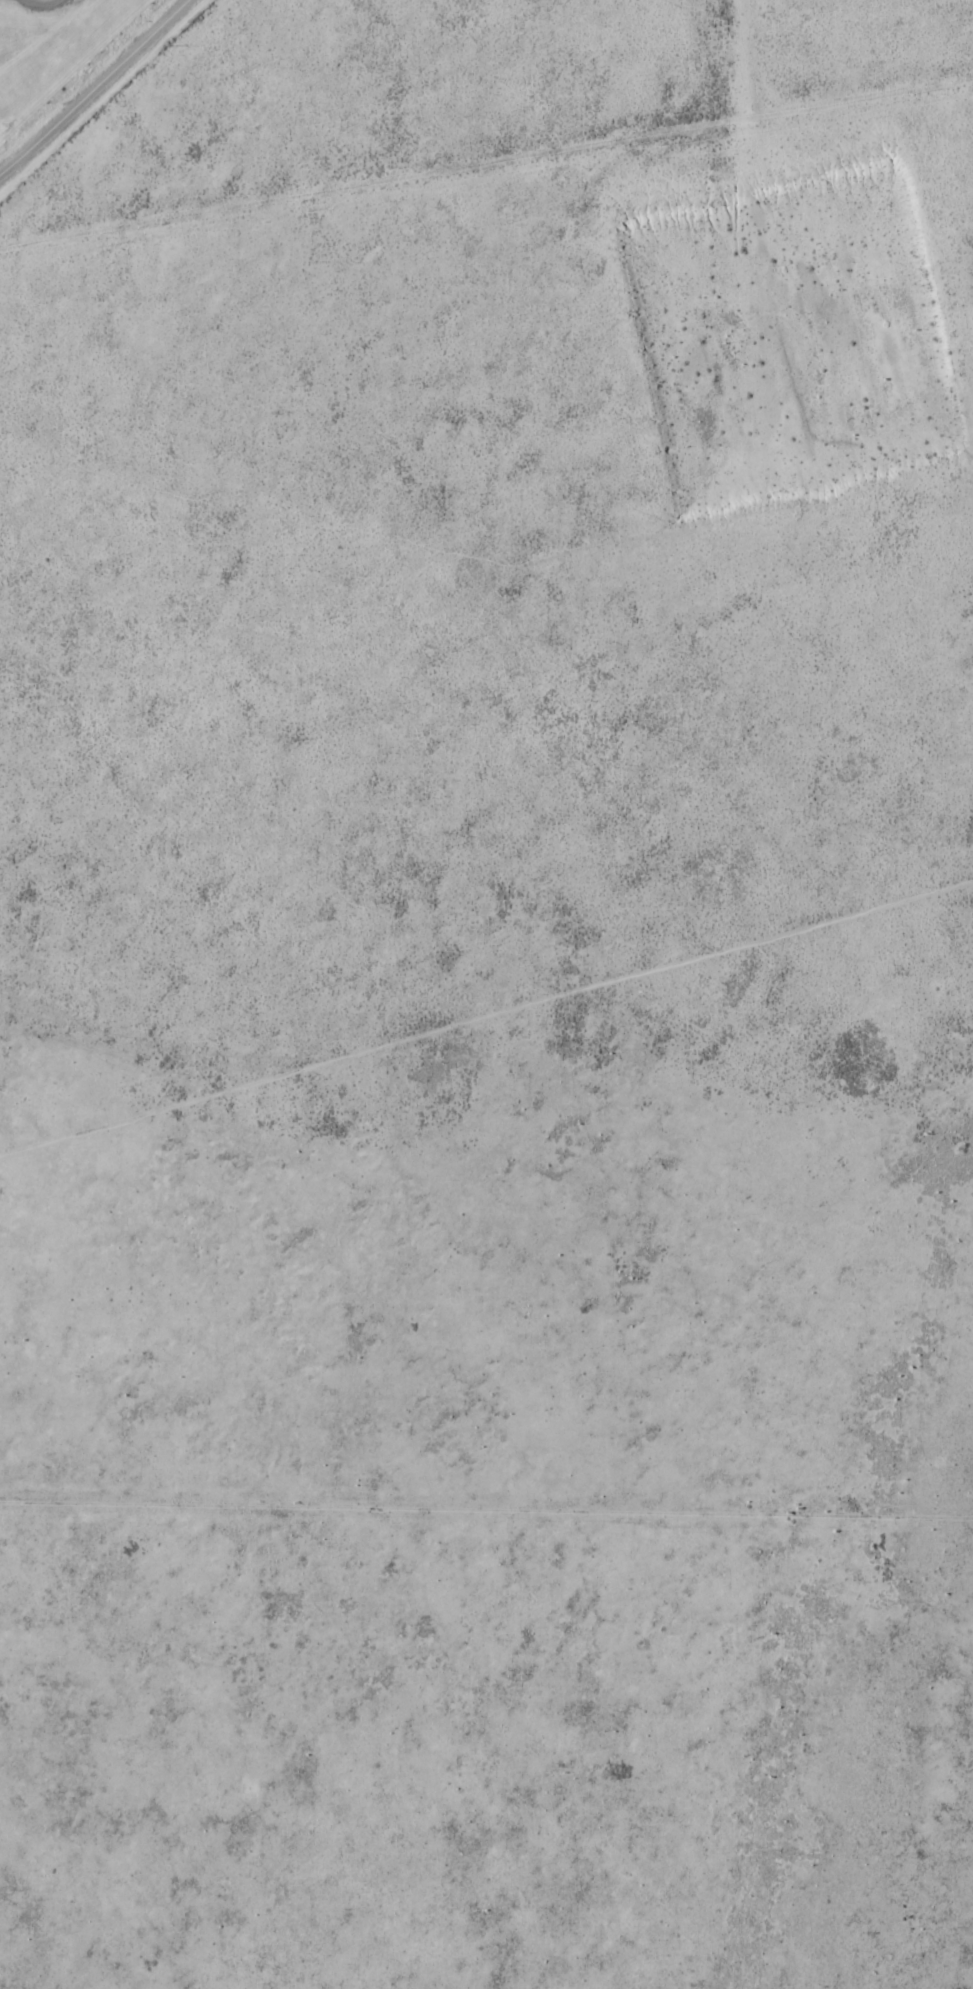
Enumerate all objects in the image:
road: (35, 1)
road: (98, 93)

